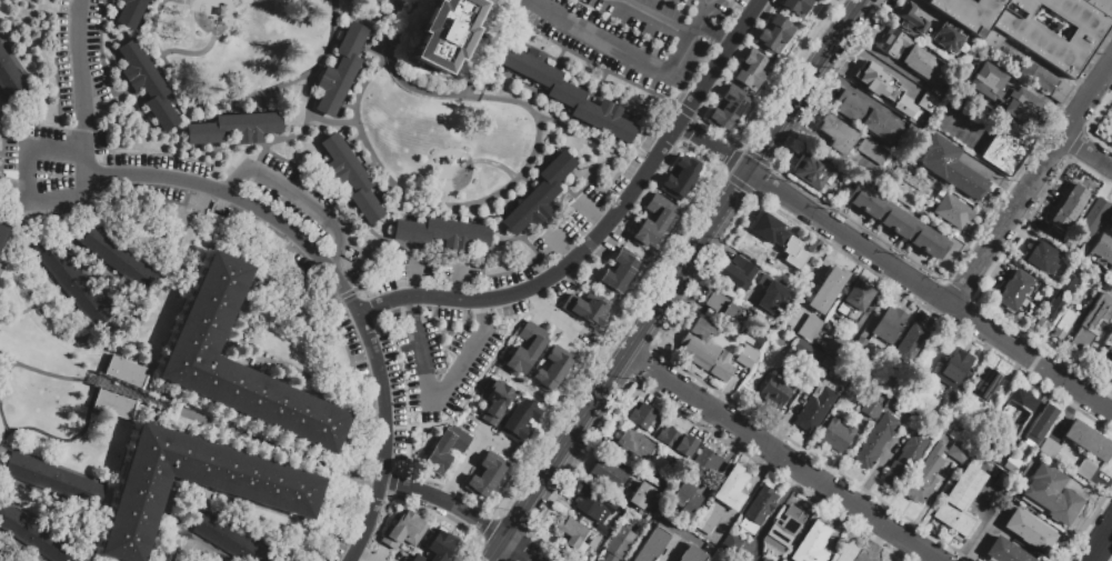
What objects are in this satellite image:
road: (509, 1)
road: (183, 2)
parking lot: (740, 2)
building: (795, 6)
building: (1102, 7)
road: (701, 11)
building: (130, 12)
building: (968, 12)
road: (403, 18)
road: (655, 18)
building: (909, 18)
road: (692, 29)
building: (448, 32)
parking lot: (631, 33)
road: (713, 33)
building: (774, 34)
building: (1029, 34)
building: (948, 38)
building: (992, 41)
parking lot: (891, 42)
road: (620, 48)
road: (100, 49)
road: (189, 52)
building: (908, 53)
road: (882, 54)
road: (874, 60)
parking lot: (926, 63)
road: (601, 66)
building: (752, 69)
road: (42, 72)
building: (338, 72)
building: (11, 76)
building: (1036, 76)
road: (364, 82)
road: (81, 84)
building: (146, 84)
building: (884, 86)
parking lot: (911, 87)
road: (439, 90)
road: (202, 91)
building: (565, 91)
building: (1060, 91)
building: (1003, 93)
road: (309, 98)
building: (924, 101)
road: (1088, 101)
building: (728, 108)
building: (866, 117)
road: (693, 121)
road: (0, 122)
building: (0, 126)
building: (913, 128)
building: (1104, 128)
building: (231, 129)
road: (1, 132)
building: (836, 133)
road: (725, 136)
parking lot: (90, 138)
road: (711, 144)
road: (170, 148)
building: (1005, 148)
building: (873, 152)
road: (1, 153)
road: (1088, 156)
parking lot: (633, 159)
road: (494, 163)
road: (709, 163)
building: (950, 167)
building: (812, 170)
building: (349, 177)
building: (680, 179)
road: (29, 182)
building: (929, 191)
building: (1080, 192)
building: (539, 194)
road: (302, 196)
parking lot: (292, 199)
road: (244, 200)
road: (469, 202)
building: (951, 209)
building: (923, 210)
building: (1050, 211)
road: (10, 213)
road: (593, 214)
building: (1093, 216)
building: (652, 221)
building: (898, 221)
parking lot: (570, 222)
road: (1008, 222)
road: (604, 226)
road: (16, 228)
building: (1110, 228)
road: (532, 230)
building: (771, 231)
building: (442, 232)
building: (2, 233)
road: (76, 237)
building: (1060, 241)
road: (233, 242)
parking lot: (607, 244)
building: (814, 244)
building: (1064, 246)
road: (562, 247)
building: (1101, 252)
road: (90, 253)
road: (641, 253)
building: (1040, 257)
building: (119, 258)
road: (679, 268)
parking lot: (434, 270)
building: (618, 272)
building: (737, 272)
parking lot: (353, 277)
parking lot: (509, 278)
road: (414, 279)
road: (649, 280)
building: (73, 281)
road: (457, 282)
parking lot: (564, 283)
parking lot: (385, 284)
road: (58, 288)
road: (929, 289)
building: (1013, 289)
building: (827, 290)
building: (772, 297)
road: (552, 300)
building: (854, 300)
building: (1056, 301)
parking lot: (335, 305)
building: (722, 307)
building: (587, 308)
building: (209, 309)
building: (1031, 310)
road: (550, 313)
road: (18, 314)
road: (242, 318)
road: (332, 322)
building: (1063, 323)
building: (889, 324)
building: (1091, 324)
building: (809, 328)
road: (124, 335)
building: (751, 339)
building: (1109, 340)
building: (909, 343)
building: (858, 344)
building: (704, 350)
building: (527, 351)
building: (808, 352)
parking lot: (435, 358)
building: (745, 358)
road: (103, 361)
road: (641, 363)
building: (1108, 368)
building: (865, 369)
building: (552, 370)
building: (123, 371)
building: (953, 372)
road: (47, 373)
road: (4, 381)
building: (984, 383)
road: (520, 385)
building: (773, 392)
road: (382, 393)
building: (818, 397)
road: (439, 398)
building: (497, 402)
building: (112, 404)
road: (550, 405)
building: (1018, 405)
road: (171, 407)
building: (869, 408)
road: (368, 415)
building: (641, 417)
building: (520, 422)
road: (221, 424)
building: (1041, 424)
road: (6, 428)
building: (835, 434)
building: (964, 437)
road: (71, 439)
road: (354, 440)
building: (1086, 440)
building: (677, 441)
building: (874, 441)
road: (407, 443)
road: (354, 445)
building: (634, 445)
building: (1049, 448)
road: (340, 449)
building: (447, 452)
road: (468, 458)
building: (903, 460)
building: (1011, 463)
road: (58, 465)
building: (1025, 467)
road: (799, 468)
building: (1085, 469)
building: (931, 470)
building: (607, 471)
road: (355, 473)
road: (365, 475)
building: (488, 478)
building: (54, 480)
building: (1003, 481)
building: (693, 482)
building: (196, 484)
road: (449, 487)
building: (731, 488)
building: (1050, 494)
road: (46, 495)
building: (641, 495)
road: (338, 497)
road: (444, 501)
building: (960, 501)
road: (168, 502)
road: (331, 503)
building: (594, 507)
building: (759, 508)
road: (435, 515)
road: (341, 518)
building: (710, 519)
road: (40, 521)
road: (369, 521)
building: (787, 525)
road: (177, 527)
road: (242, 528)
building: (1029, 529)
building: (405, 532)
building: (573, 533)
building: (33, 534)
building: (231, 539)
building: (594, 541)
road: (206, 543)
building: (731, 543)
road: (1100, 543)
building: (652, 544)
building: (811, 544)
building: (618, 545)
parking lot: (337, 547)
building: (442, 547)
road: (494, 549)
road: (520, 549)
road: (9, 550)
building: (1004, 551)
building: (848, 552)
road: (365, 554)
building: (691, 554)
parking lot: (3, 555)
park: (720, 555)
road: (178, 558)
building: (419, 559)
building: (765, 559)
building: (782, 560)

